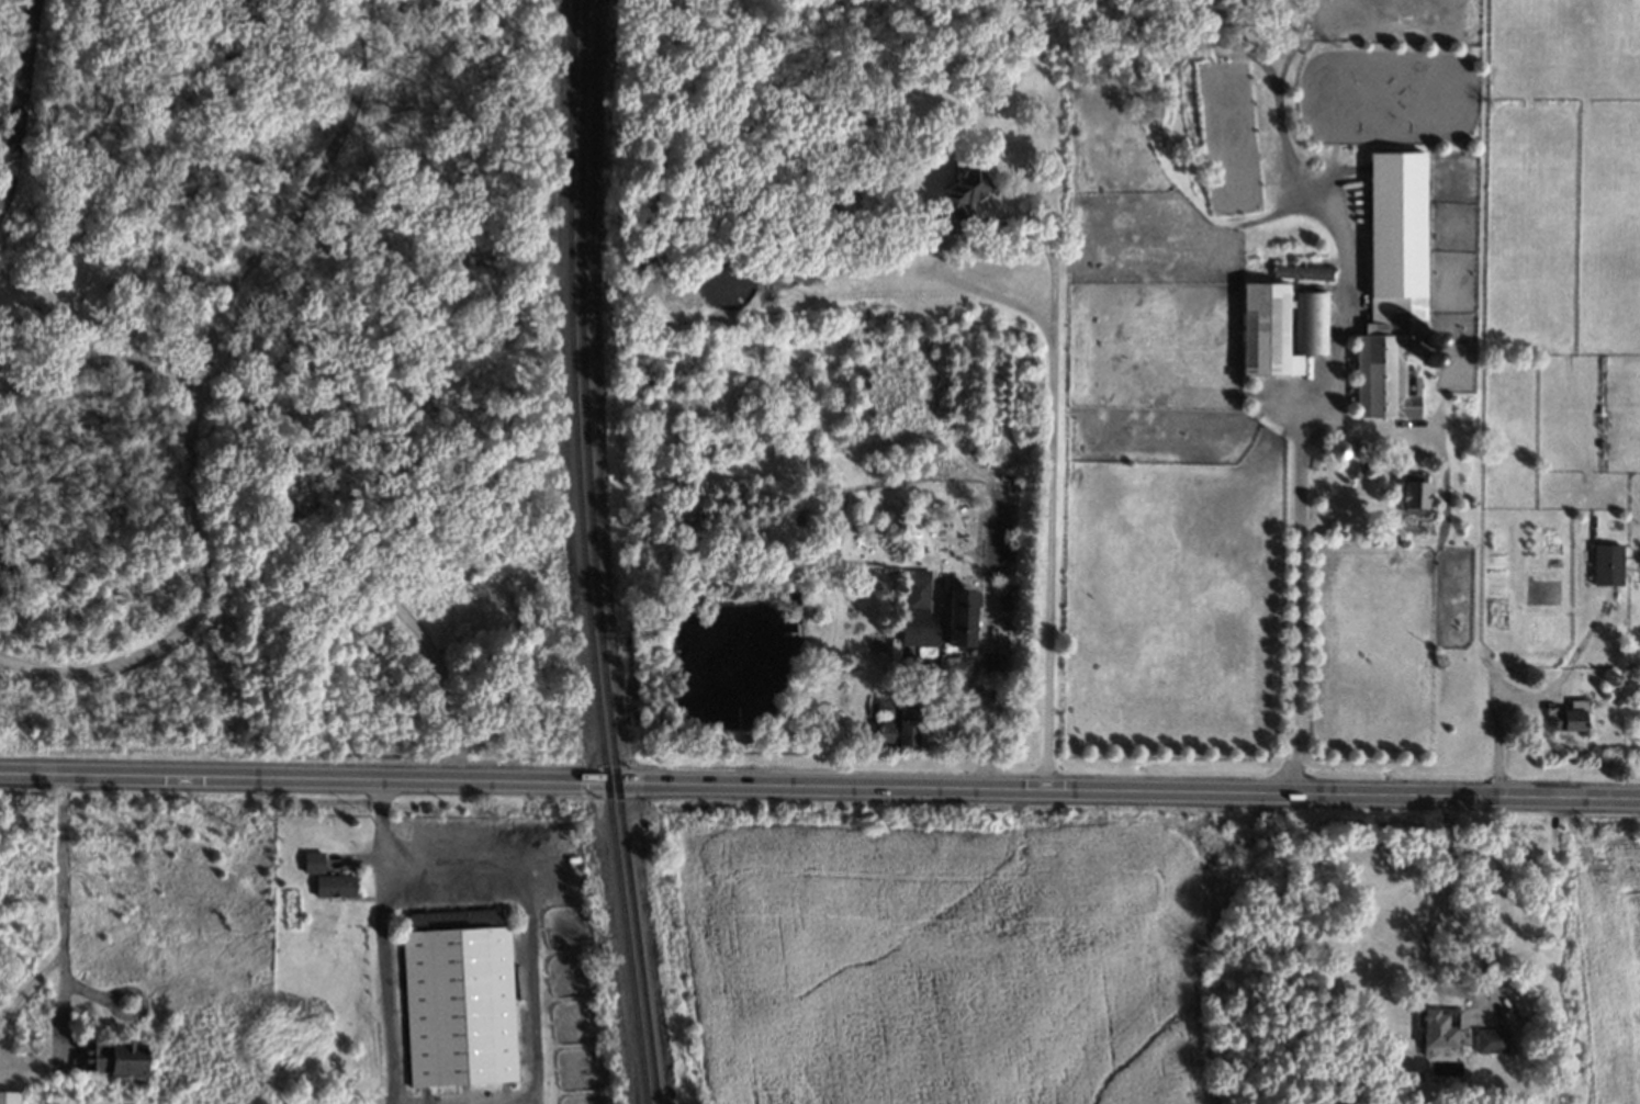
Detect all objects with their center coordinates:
road: (24, 94)
building: (964, 192)
building: (1302, 272)
building: (1394, 285)
crop: (1152, 303)
building: (1312, 324)
building: (1268, 330)
road: (1053, 371)
road: (202, 391)
road: (355, 449)
building: (1414, 493)
railway: (582, 553)
railway: (593, 553)
building: (1609, 564)
crop: (1173, 578)
road: (1299, 590)
crop: (1452, 596)
building: (920, 611)
building: (964, 617)
crop: (1374, 646)
building: (993, 662)
road: (976, 695)
building: (1573, 716)
building: (898, 732)
road: (303, 778)
road: (1123, 790)
building: (314, 861)
road: (400, 864)
building: (336, 886)
road: (60, 920)
crop: (1614, 956)
crop: (951, 964)
road: (1425, 967)
building: (461, 1006)
building: (1445, 1029)
building: (1494, 1040)
building: (114, 1057)
building: (10, 1097)

